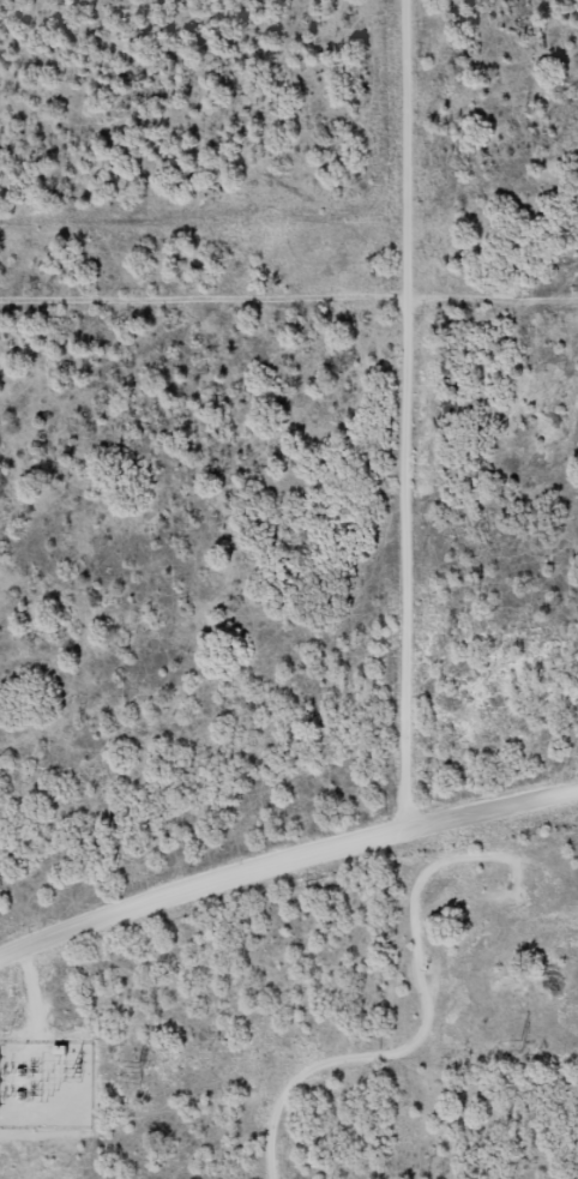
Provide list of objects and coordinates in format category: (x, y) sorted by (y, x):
road: (284, 891)

